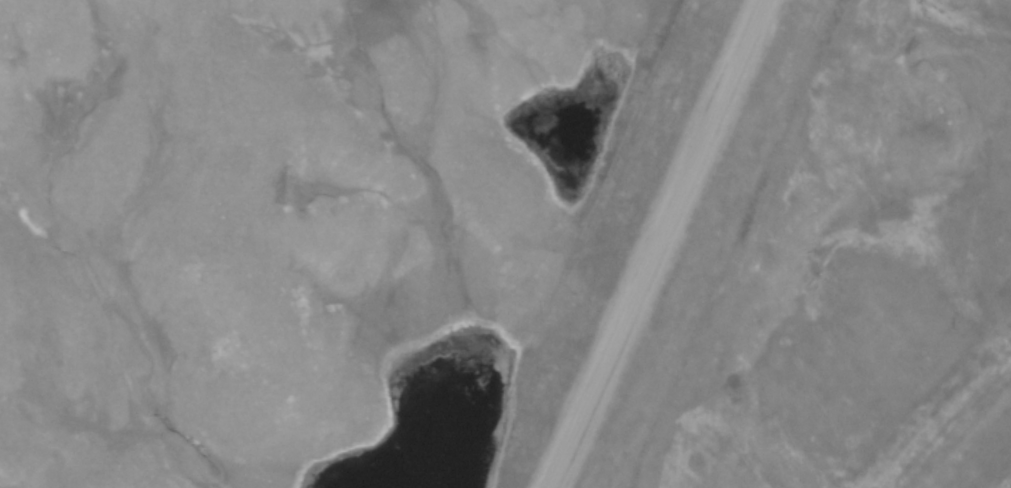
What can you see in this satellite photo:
road: (651, 244)

